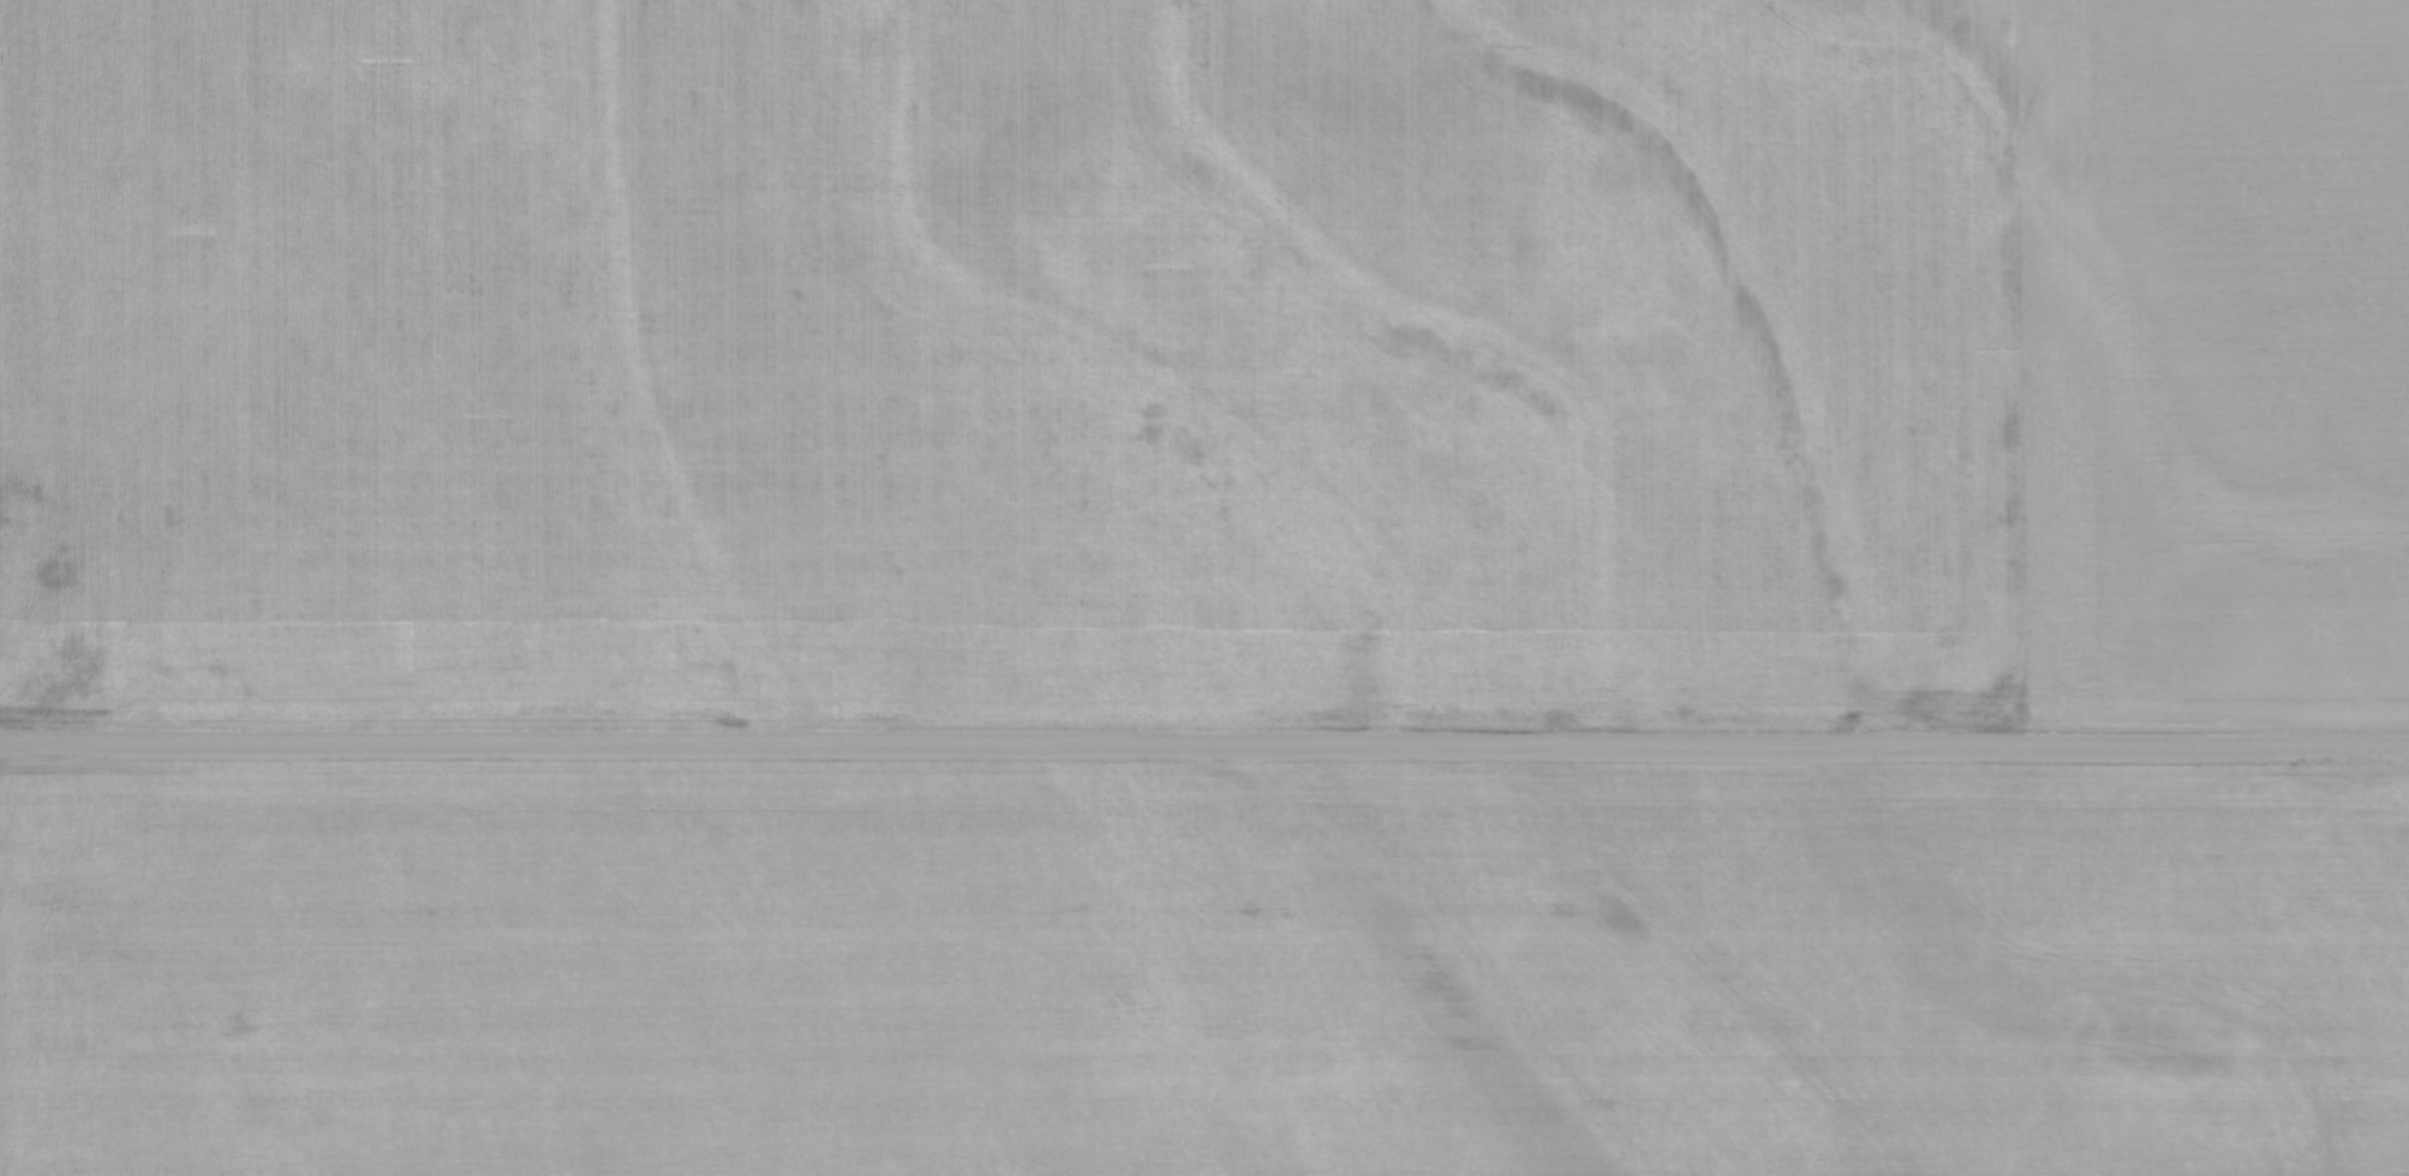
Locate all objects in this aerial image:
crop: (1207, 362)
road: (1203, 744)
crop: (1203, 970)

